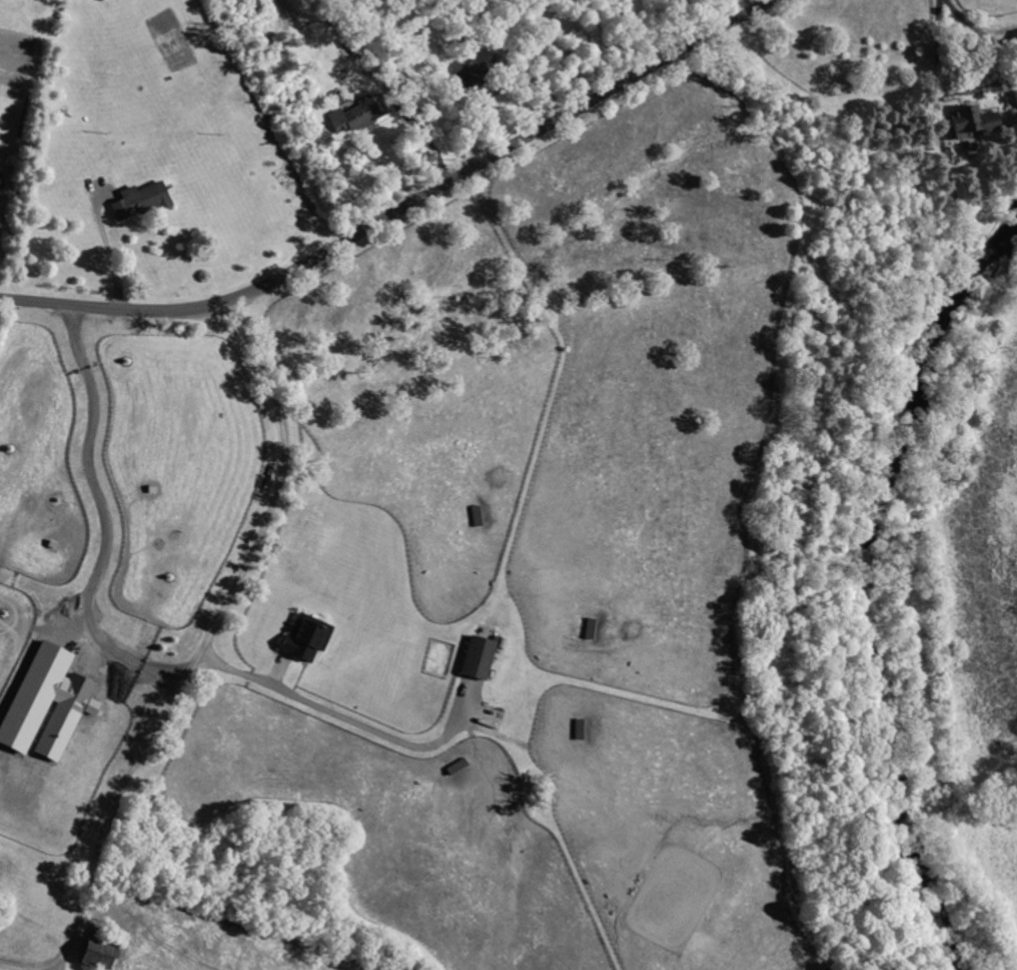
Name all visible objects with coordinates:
road: (750, 5)
building: (479, 65)
road: (495, 88)
building: (355, 115)
building: (970, 121)
road: (426, 139)
building: (0, 175)
building: (137, 202)
road: (401, 209)
road: (110, 257)
road: (103, 518)
road: (207, 638)
building: (305, 638)
building: (478, 658)
building: (47, 704)
road: (349, 721)
building: (96, 954)
road: (23, 965)

